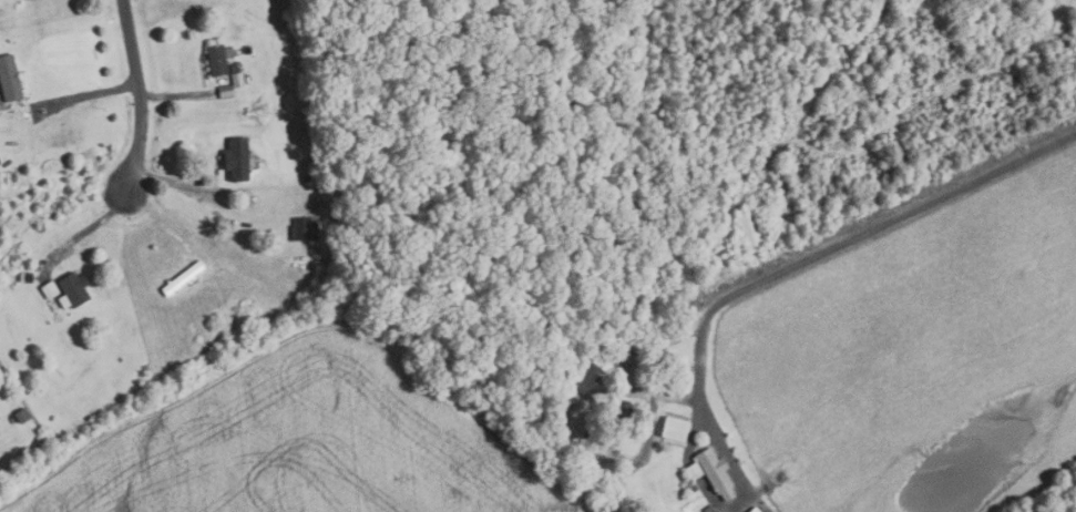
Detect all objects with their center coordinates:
building: (29, 0)
building: (219, 59)
building: (235, 68)
building: (10, 79)
building: (239, 80)
building: (227, 91)
road: (140, 94)
road: (89, 95)
road: (177, 98)
building: (238, 157)
building: (327, 158)
road: (177, 183)
building: (306, 228)
building: (751, 228)
road: (85, 234)
road: (842, 243)
building: (30, 277)
building: (183, 278)
building: (74, 290)
building: (23, 416)
building: (677, 429)
building: (713, 472)
building: (710, 509)
building: (756, 510)

